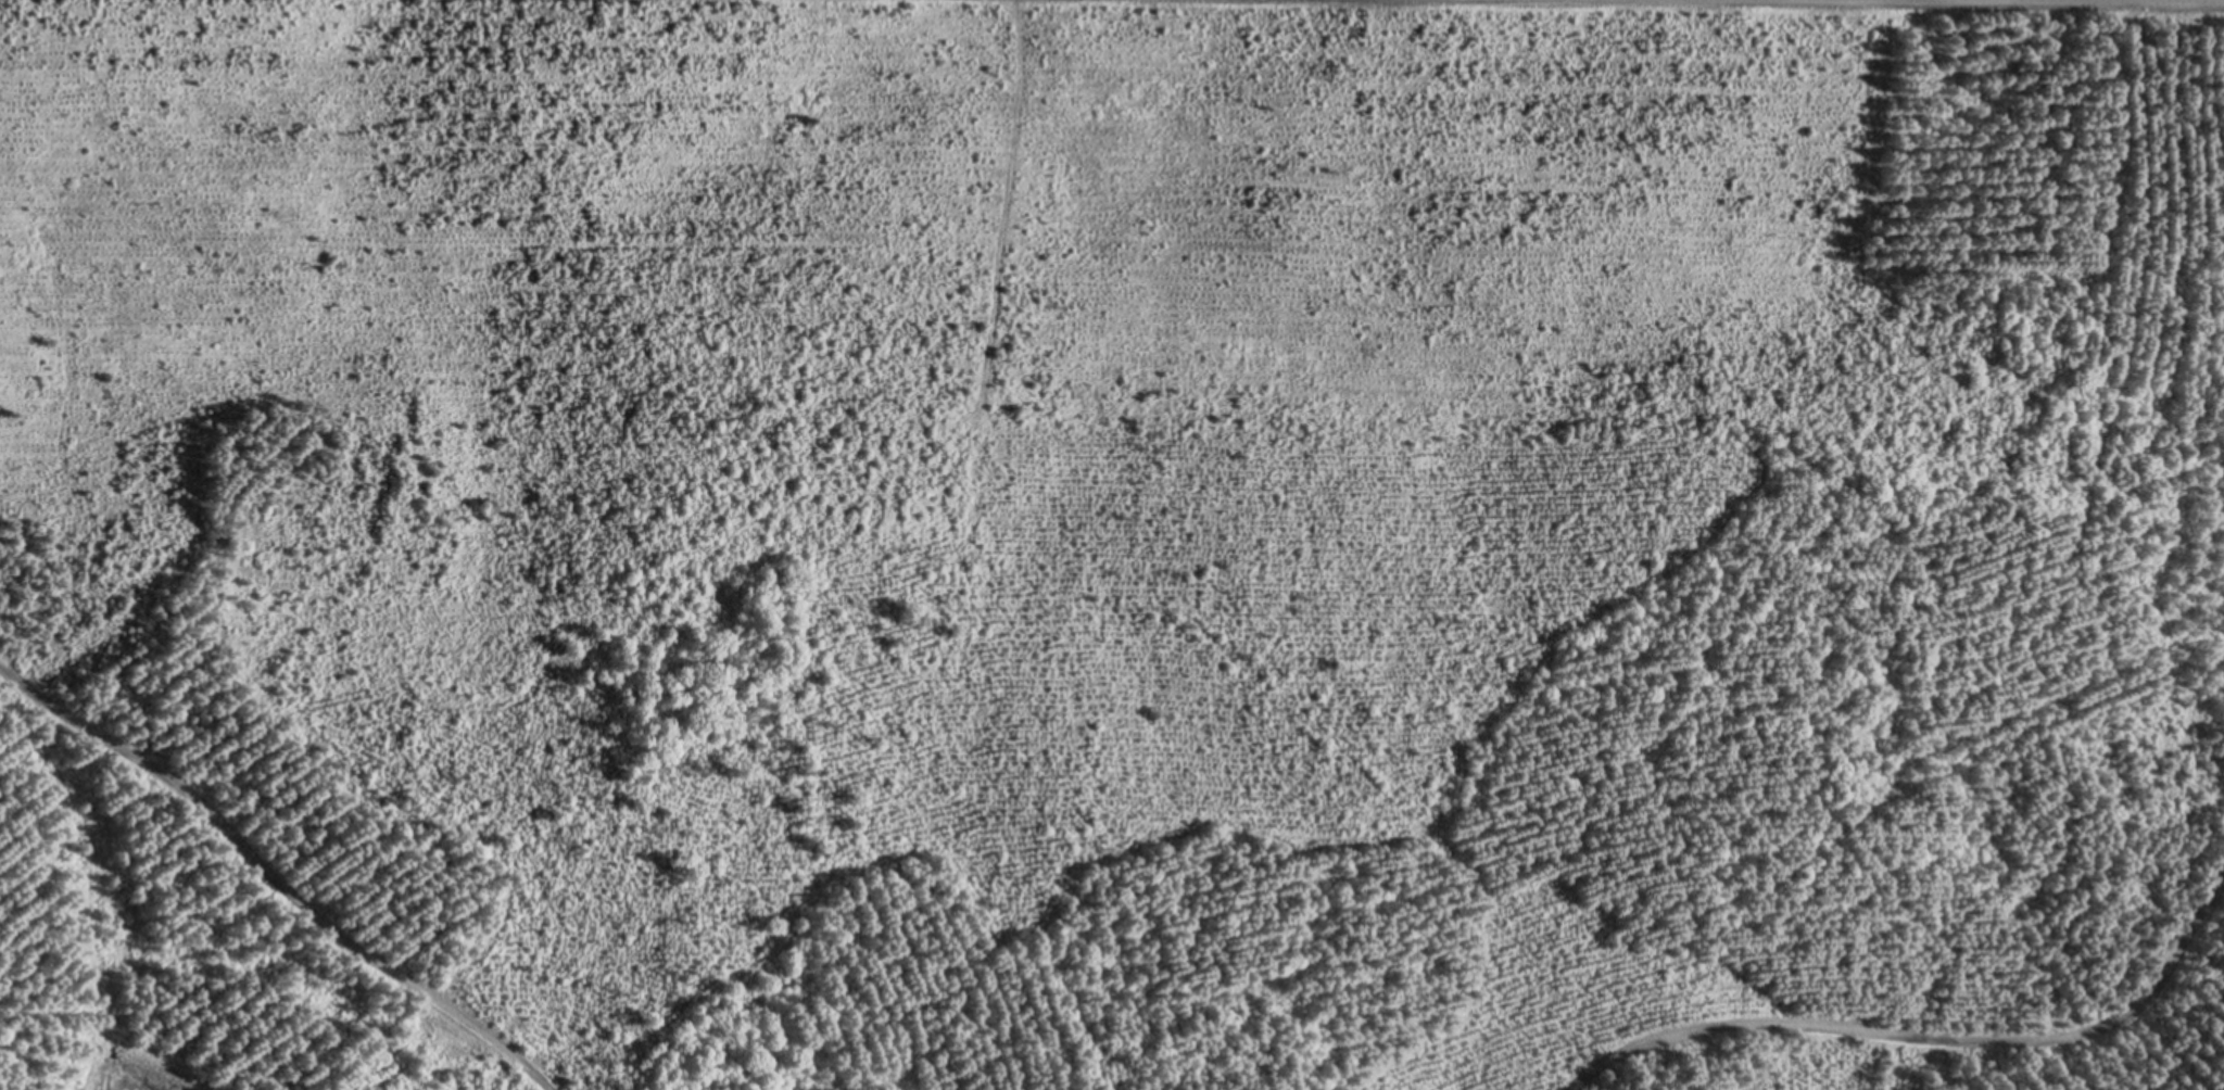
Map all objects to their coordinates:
road: (2068, 0)
road: (288, 870)

